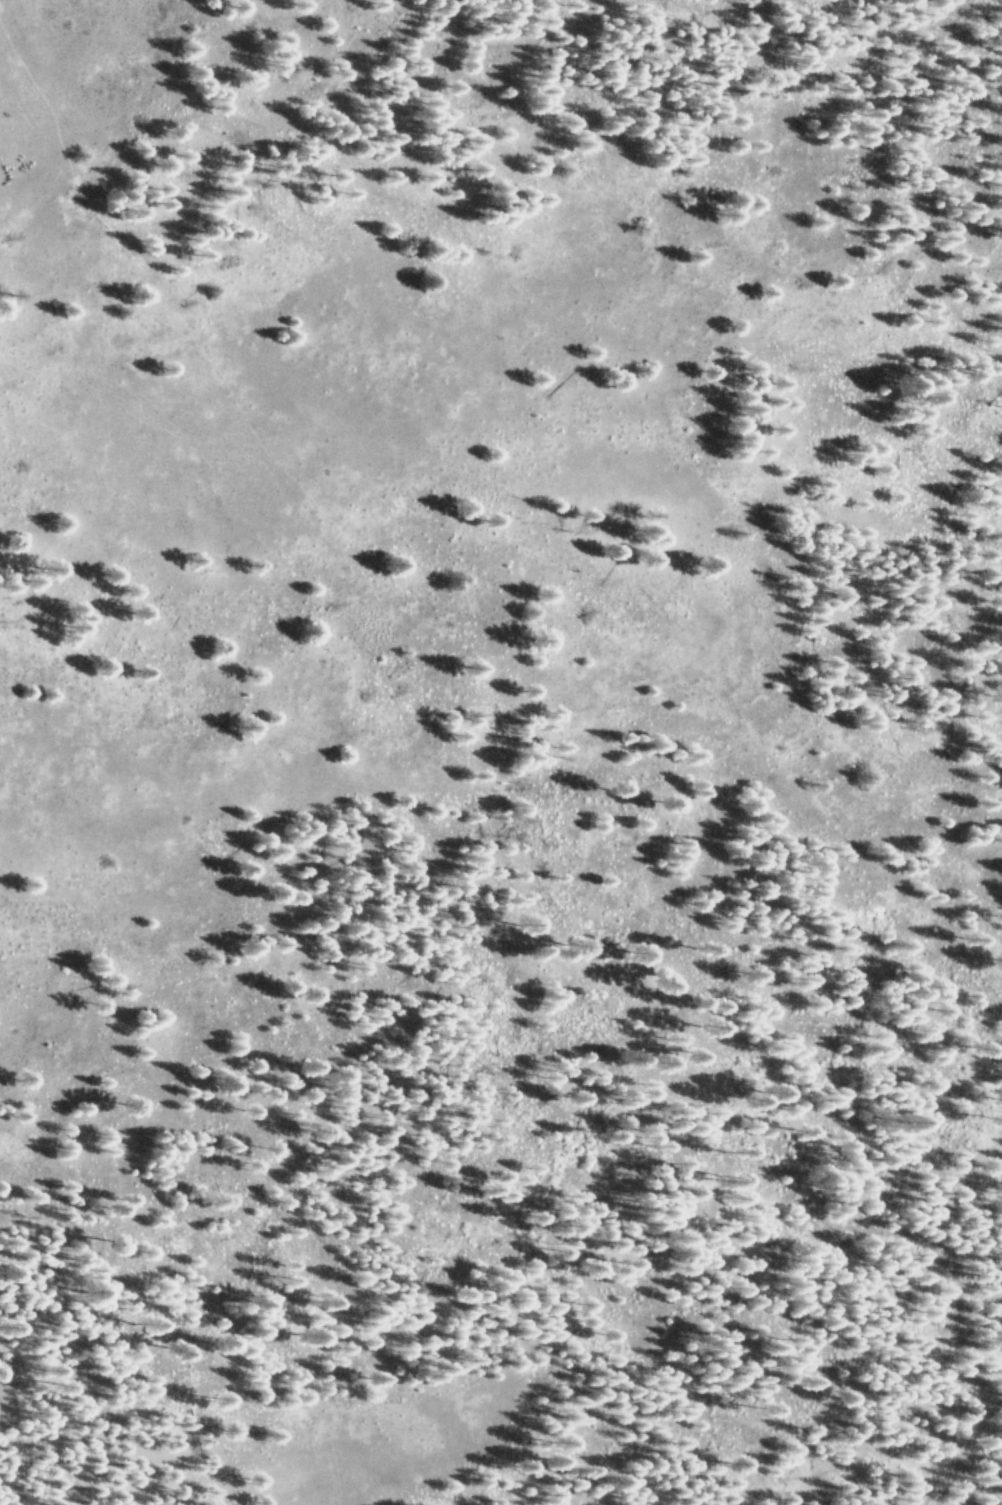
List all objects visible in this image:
road: (211, 1265)
road: (698, 1333)
road: (383, 1445)

